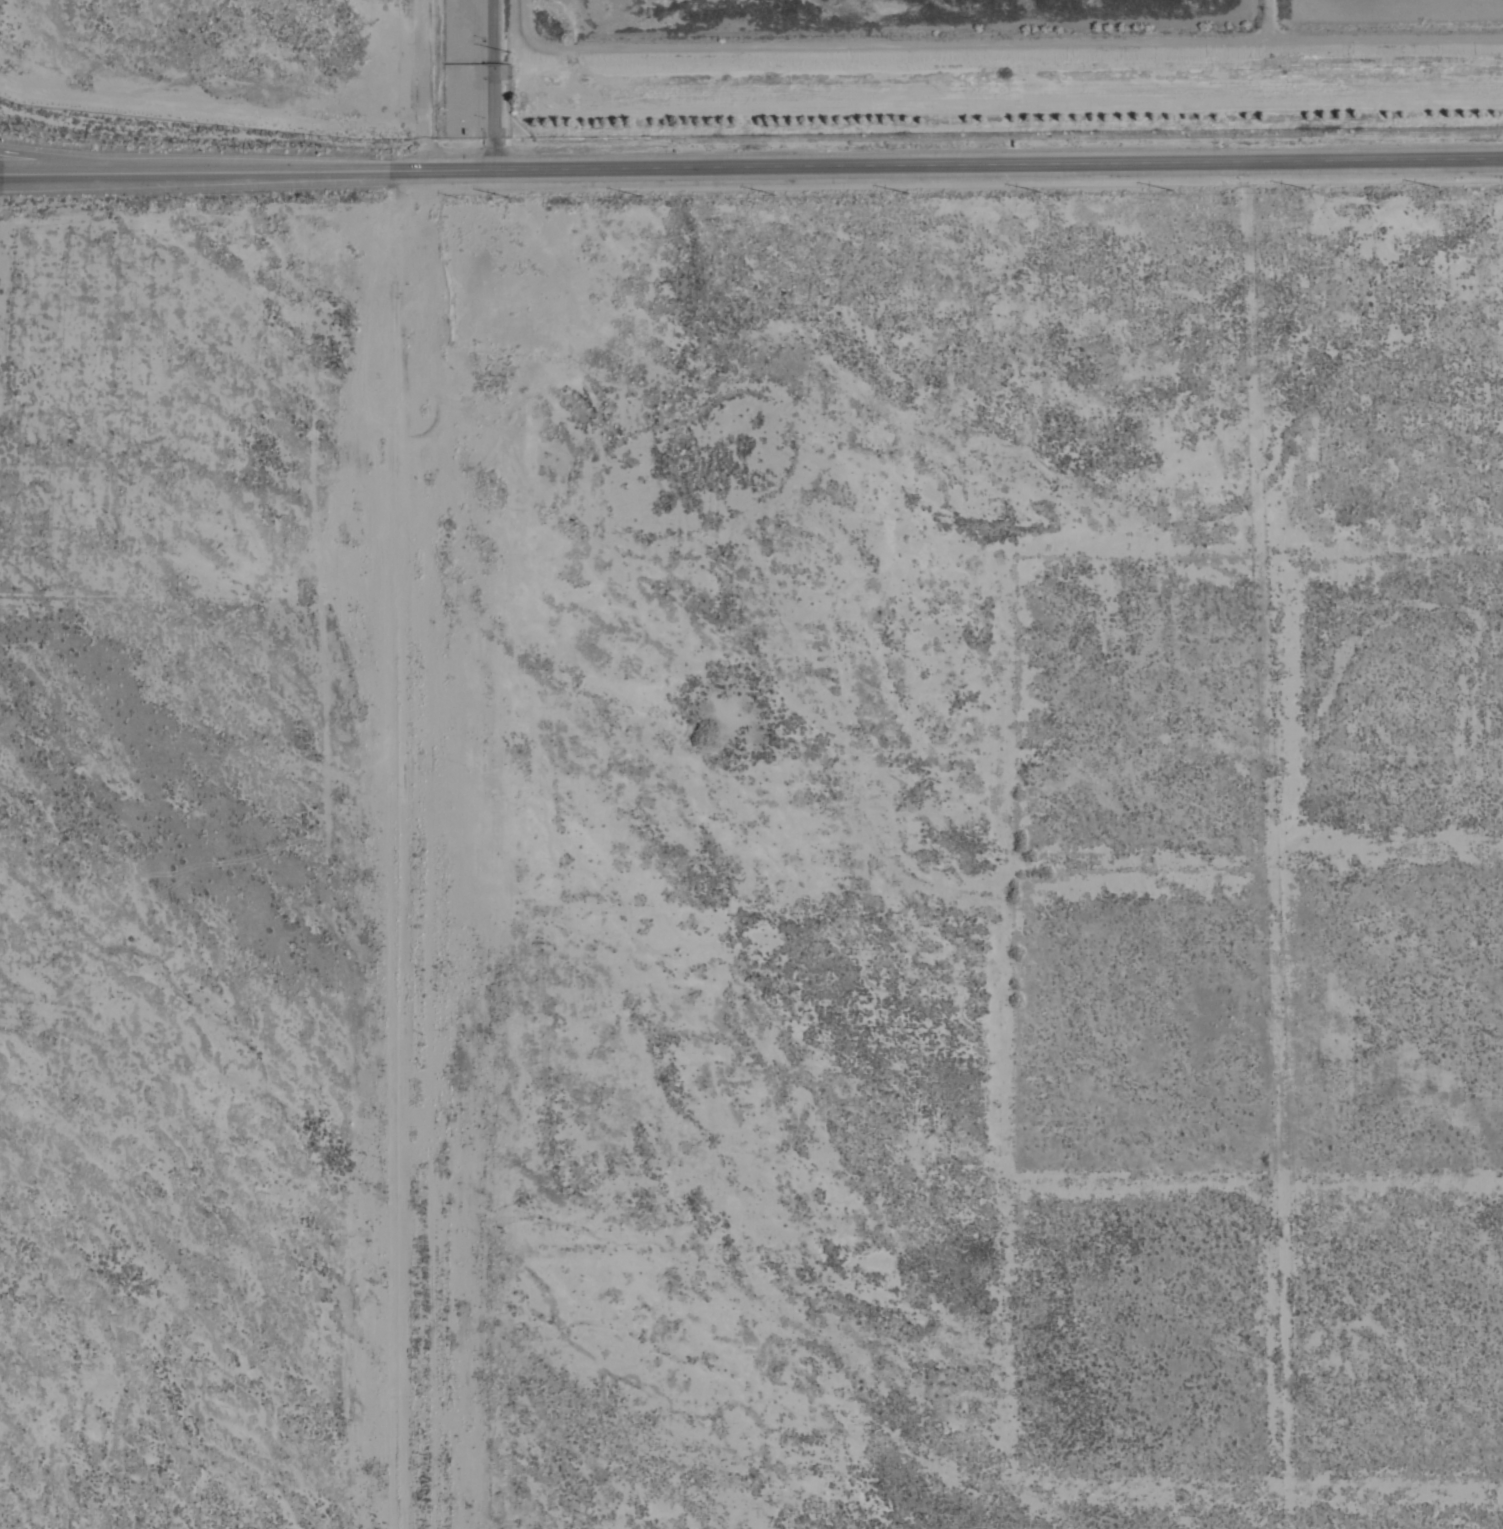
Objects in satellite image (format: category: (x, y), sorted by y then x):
wastewater plant: (1388, 5)
wastewater plant: (889, 9)
wastewater plant: (759, 63)
road: (495, 84)
road: (50, 161)
road: (751, 166)

